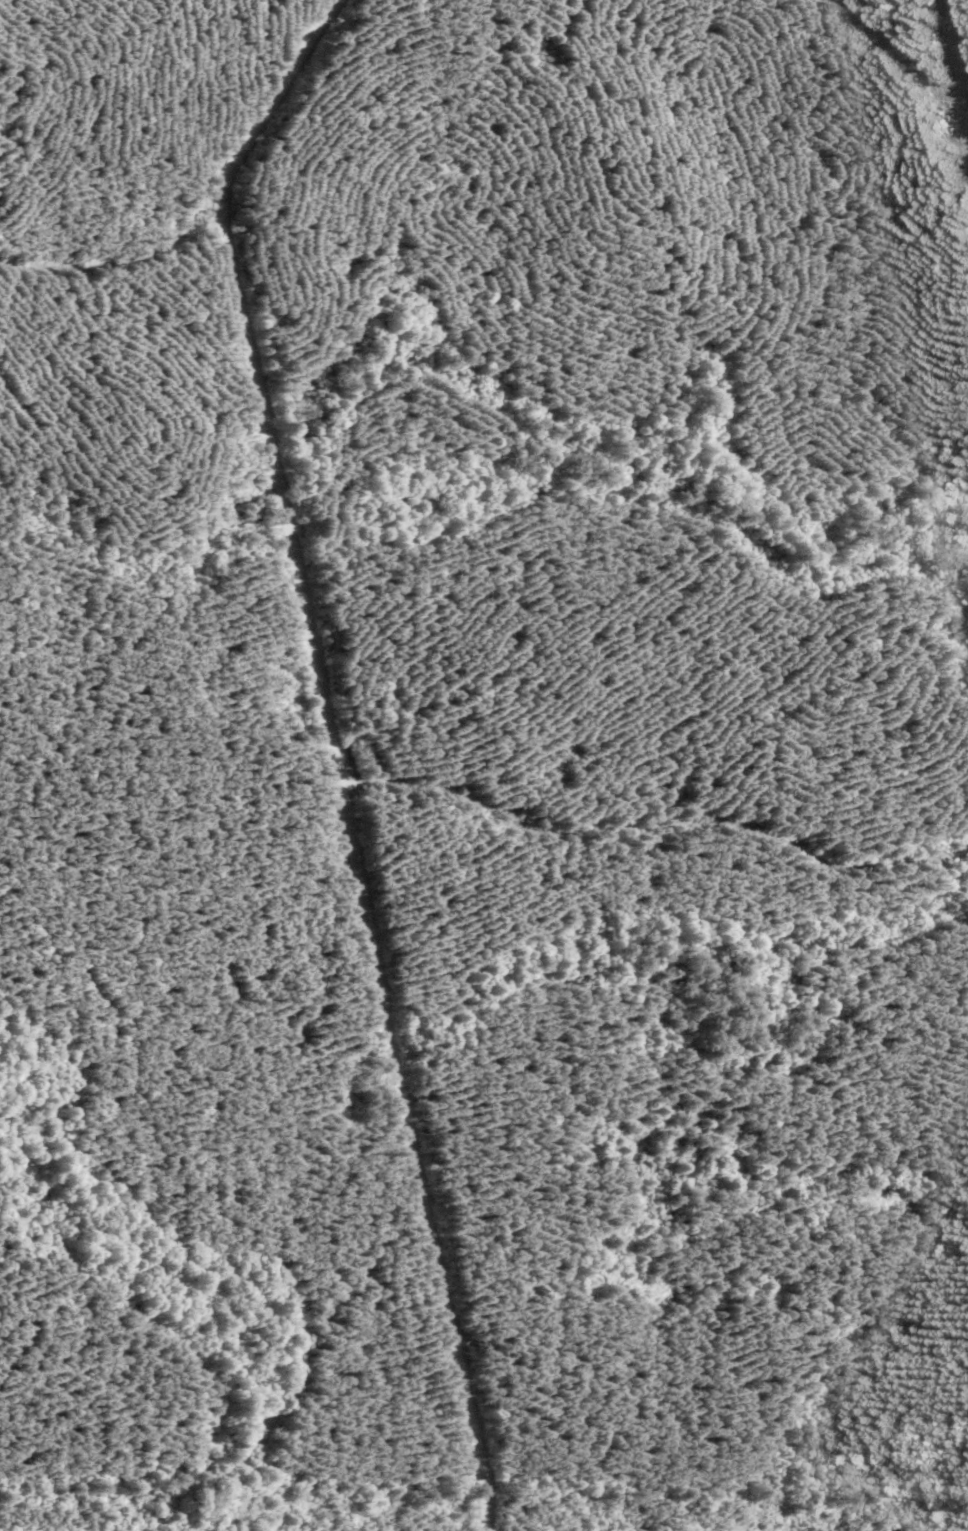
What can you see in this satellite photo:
road: (341, 749)

